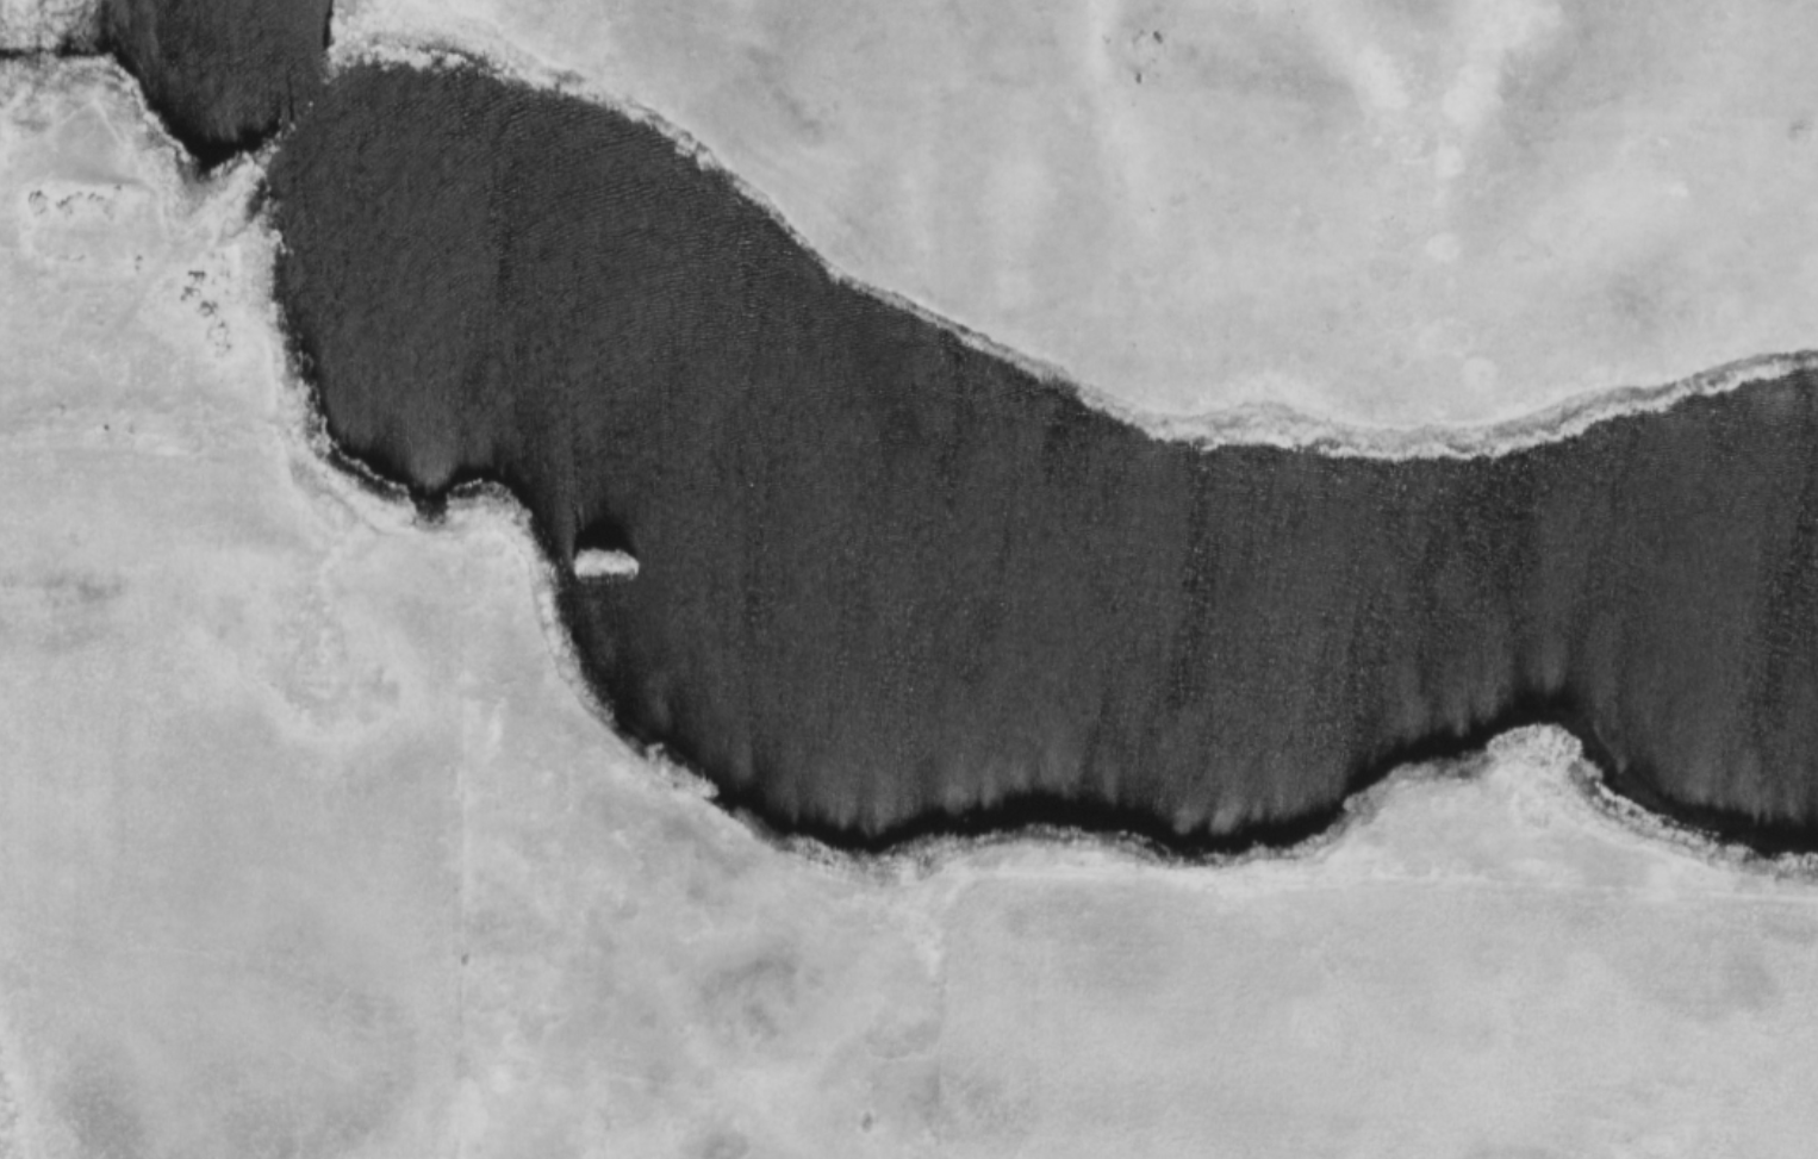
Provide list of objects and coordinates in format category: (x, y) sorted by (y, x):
road: (305, 186)

